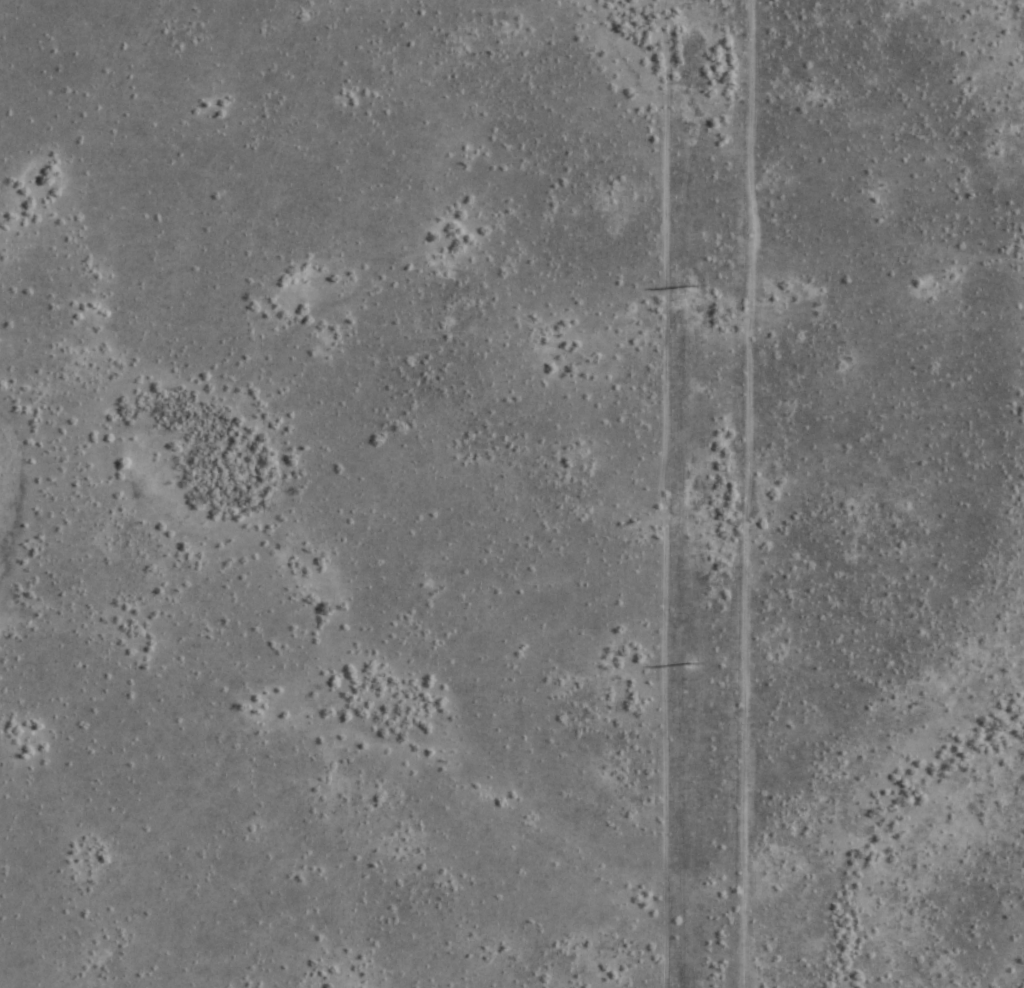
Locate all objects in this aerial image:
power tower: (689, 285)
power tower: (690, 662)

